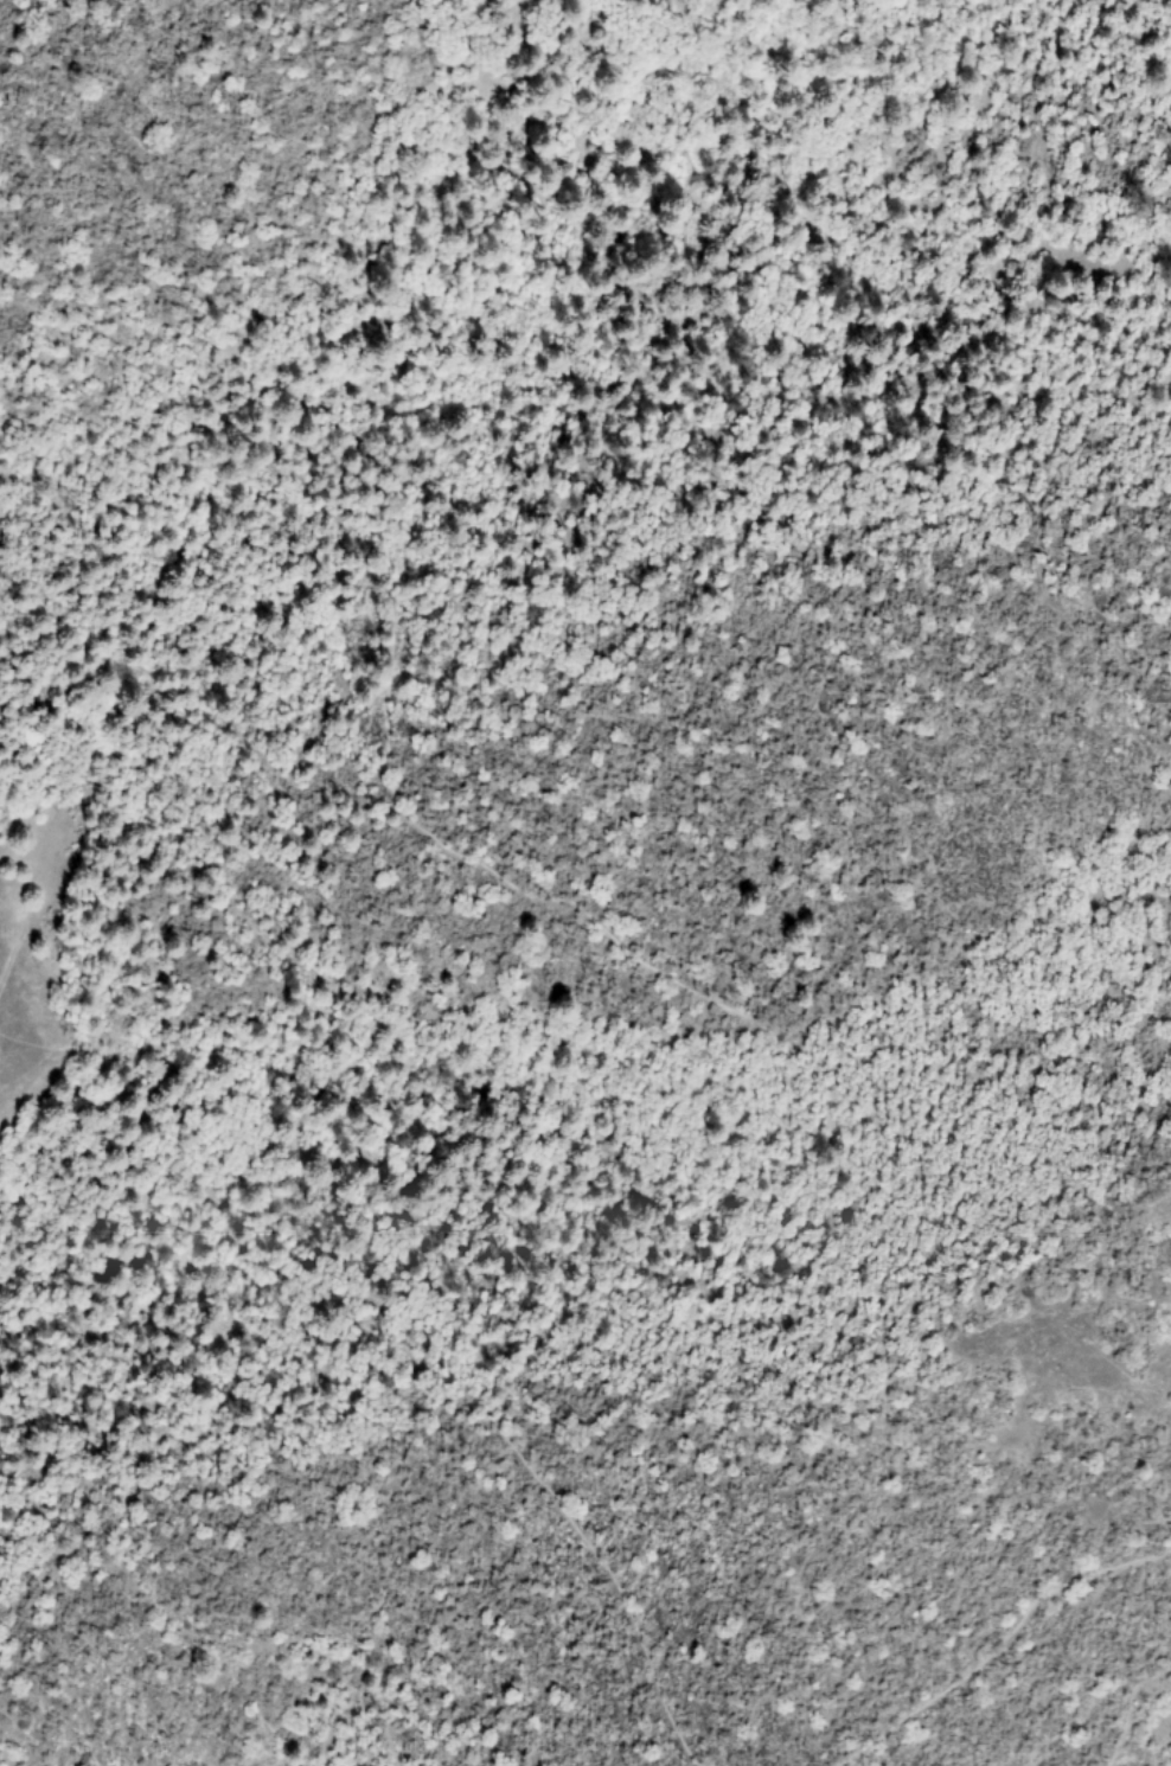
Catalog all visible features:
road: (606, 935)
road: (996, 1644)
road: (1128, 1706)

